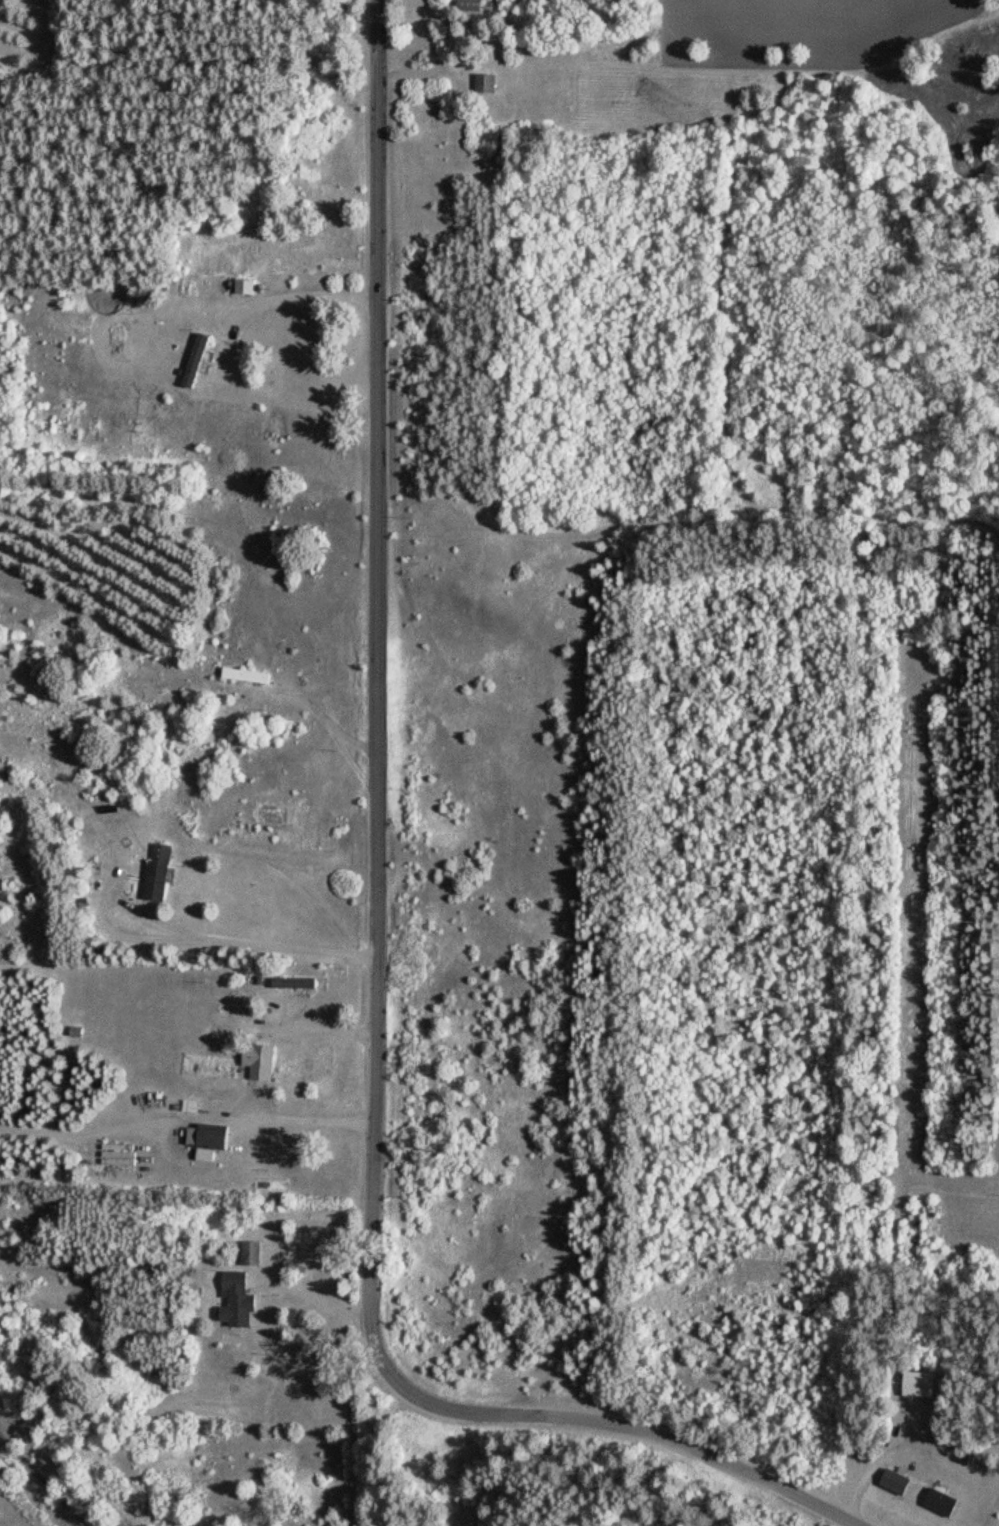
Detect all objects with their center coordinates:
building: (468, 5)
building: (487, 84)
building: (245, 287)
road: (301, 292)
building: (196, 360)
building: (253, 676)
road: (293, 725)
road: (372, 824)
building: (159, 872)
road: (168, 938)
building: (295, 982)
building: (77, 1032)
building: (259, 1061)
building: (210, 1136)
building: (119, 1154)
building: (251, 1253)
building: (237, 1300)
building: (919, 1383)
road: (739, 1476)
building: (894, 1481)
road: (39, 1482)
building: (941, 1501)

